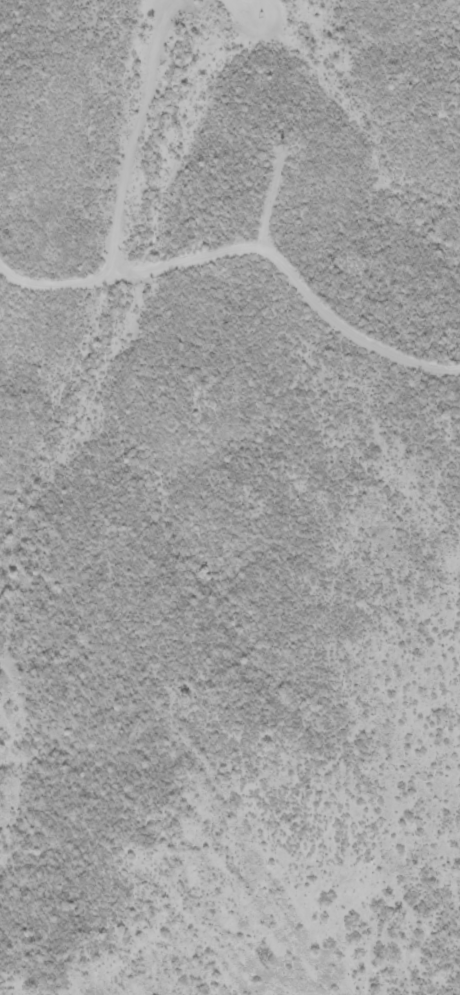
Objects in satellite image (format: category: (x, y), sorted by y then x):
road: (239, 253)

